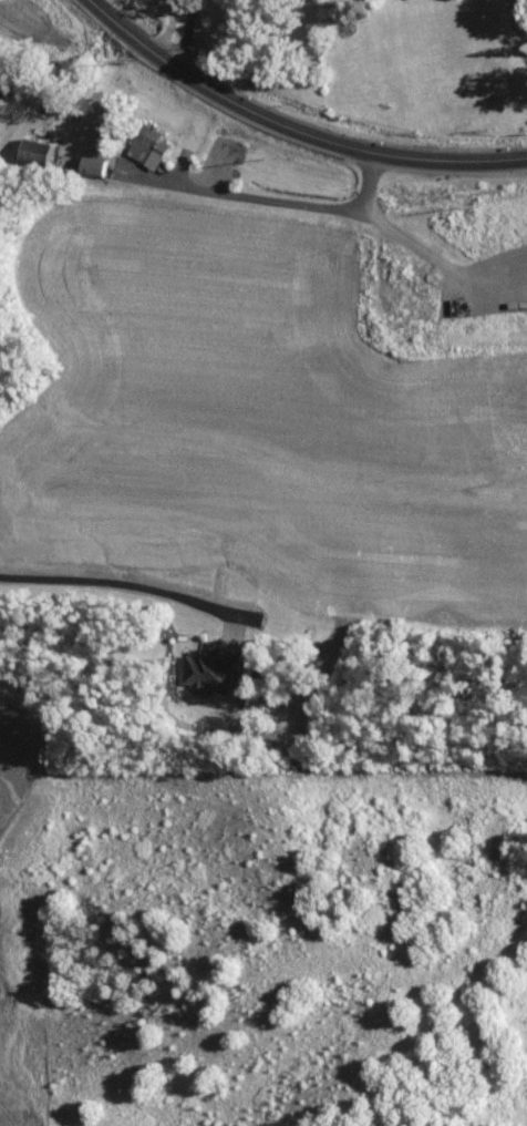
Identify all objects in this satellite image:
road: (166, 25)
road: (506, 28)
road: (185, 33)
road: (19, 109)
road: (292, 126)
building: (148, 144)
building: (38, 149)
building: (95, 164)
road: (267, 196)
road: (130, 582)
building: (211, 668)

